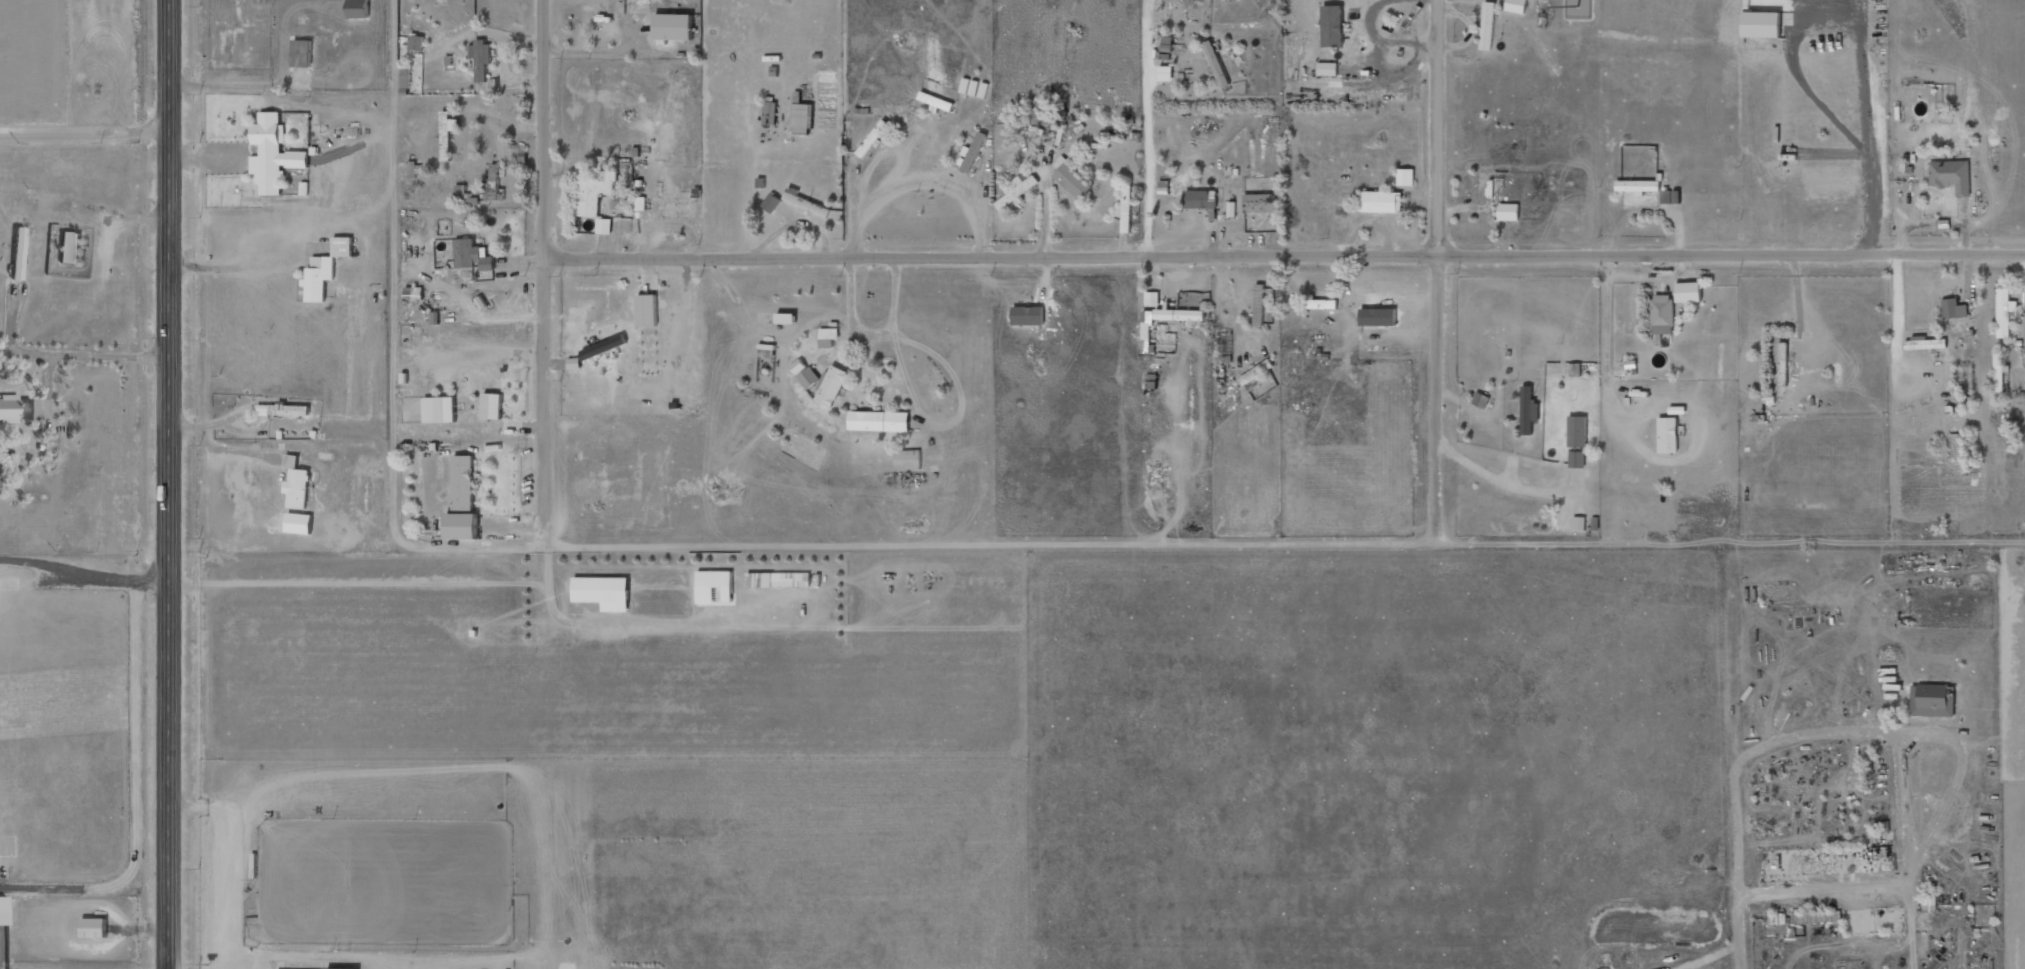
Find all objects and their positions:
building: (1516, 6)
building: (358, 9)
building: (1332, 25)
building: (672, 26)
building: (1488, 26)
building: (416, 43)
building: (301, 53)
building: (481, 58)
building: (1215, 63)
building: (1327, 69)
building: (1165, 73)
building: (770, 111)
building: (1049, 116)
building: (802, 118)
building: (297, 159)
building: (1951, 176)
building: (1406, 177)
building: (1070, 178)
building: (493, 186)
building: (1637, 186)
building: (1164, 187)
building: (1017, 189)
building: (593, 192)
building: (1666, 197)
building: (1201, 199)
building: (1381, 201)
building: (771, 203)
building: (1259, 203)
building: (809, 206)
building: (1125, 209)
building: (1231, 209)
building: (1508, 212)
road: (1166, 217)
building: (604, 226)
building: (342, 247)
building: (70, 248)
road: (1285, 254)
building: (471, 256)
road: (1438, 271)
road: (547, 272)
building: (318, 278)
building: (1688, 292)
building: (1152, 299)
building: (1259, 305)
building: (645, 308)
building: (1954, 309)
building: (2004, 312)
building: (1662, 314)
building: (1028, 315)
building: (1179, 315)
building: (1147, 320)
building: (829, 336)
building: (1924, 343)
building: (605, 346)
building: (574, 363)
building: (1784, 364)
building: (1998, 371)
building: (1256, 372)
building: (809, 377)
building: (832, 386)
building: (1481, 400)
building: (491, 406)
building: (14, 409)
building: (284, 410)
building: (439, 410)
building: (1528, 411)
building: (879, 421)
building: (1577, 431)
building: (1668, 435)
building: (1577, 459)
building: (908, 460)
airport: (64, 481)
building: (463, 483)
road: (172, 484)
building: (298, 489)
building: (1579, 523)
building: (460, 526)
road: (1286, 542)
building: (778, 580)
building: (714, 588)
building: (602, 592)
building: (1932, 700)
road: (1629, 899)
building: (1930, 903)
building: (1816, 917)
building: (93, 927)

